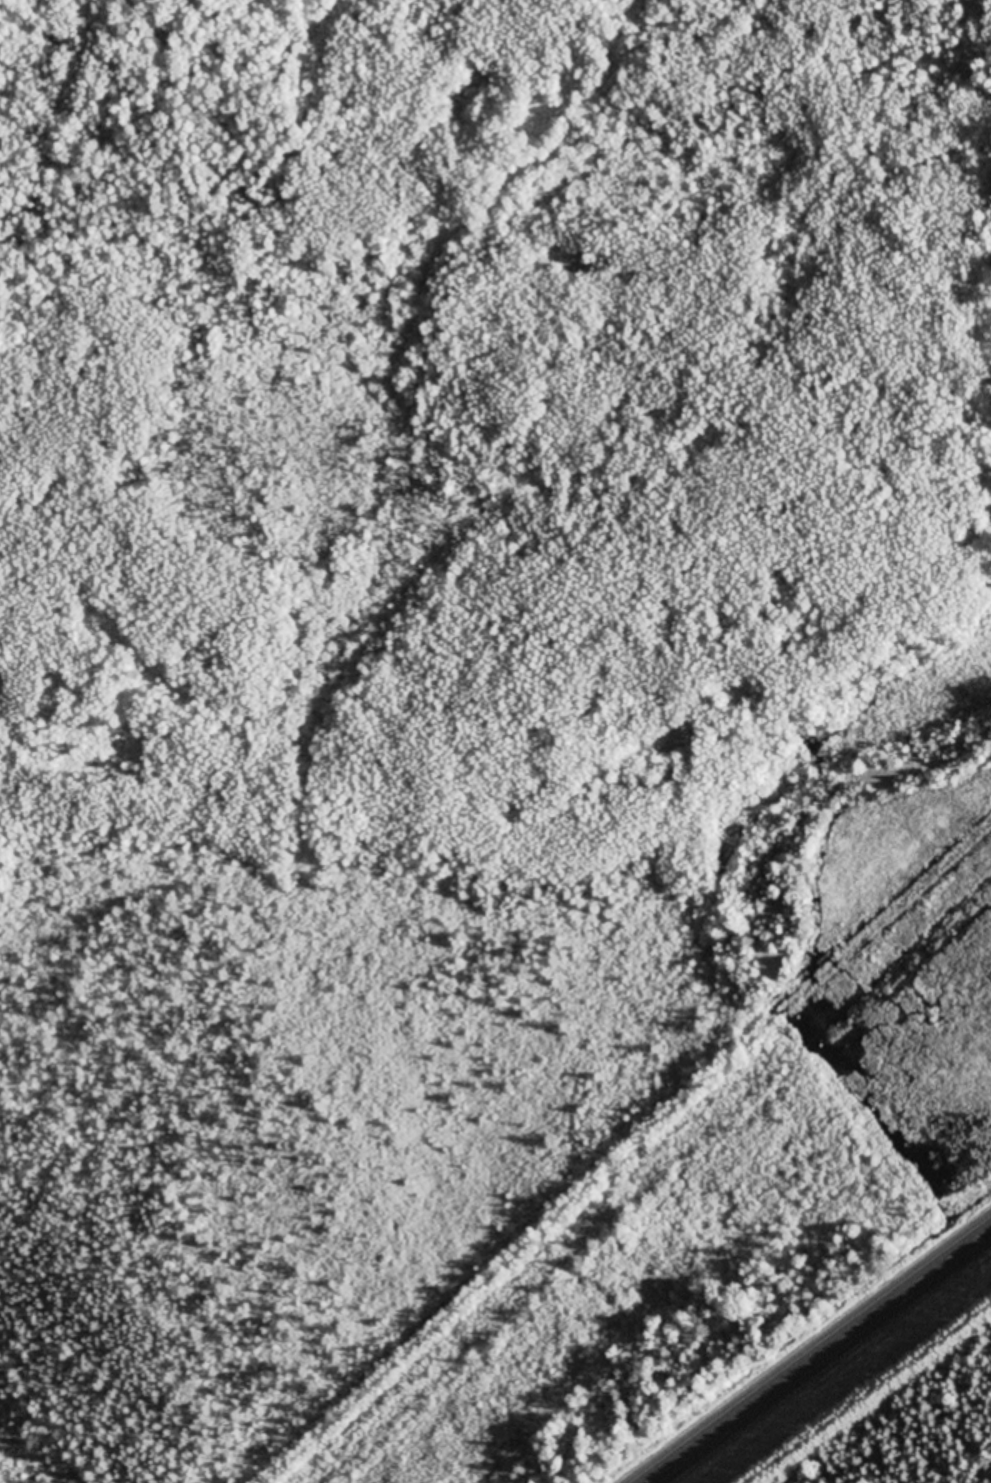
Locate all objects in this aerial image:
road: (819, 1356)

